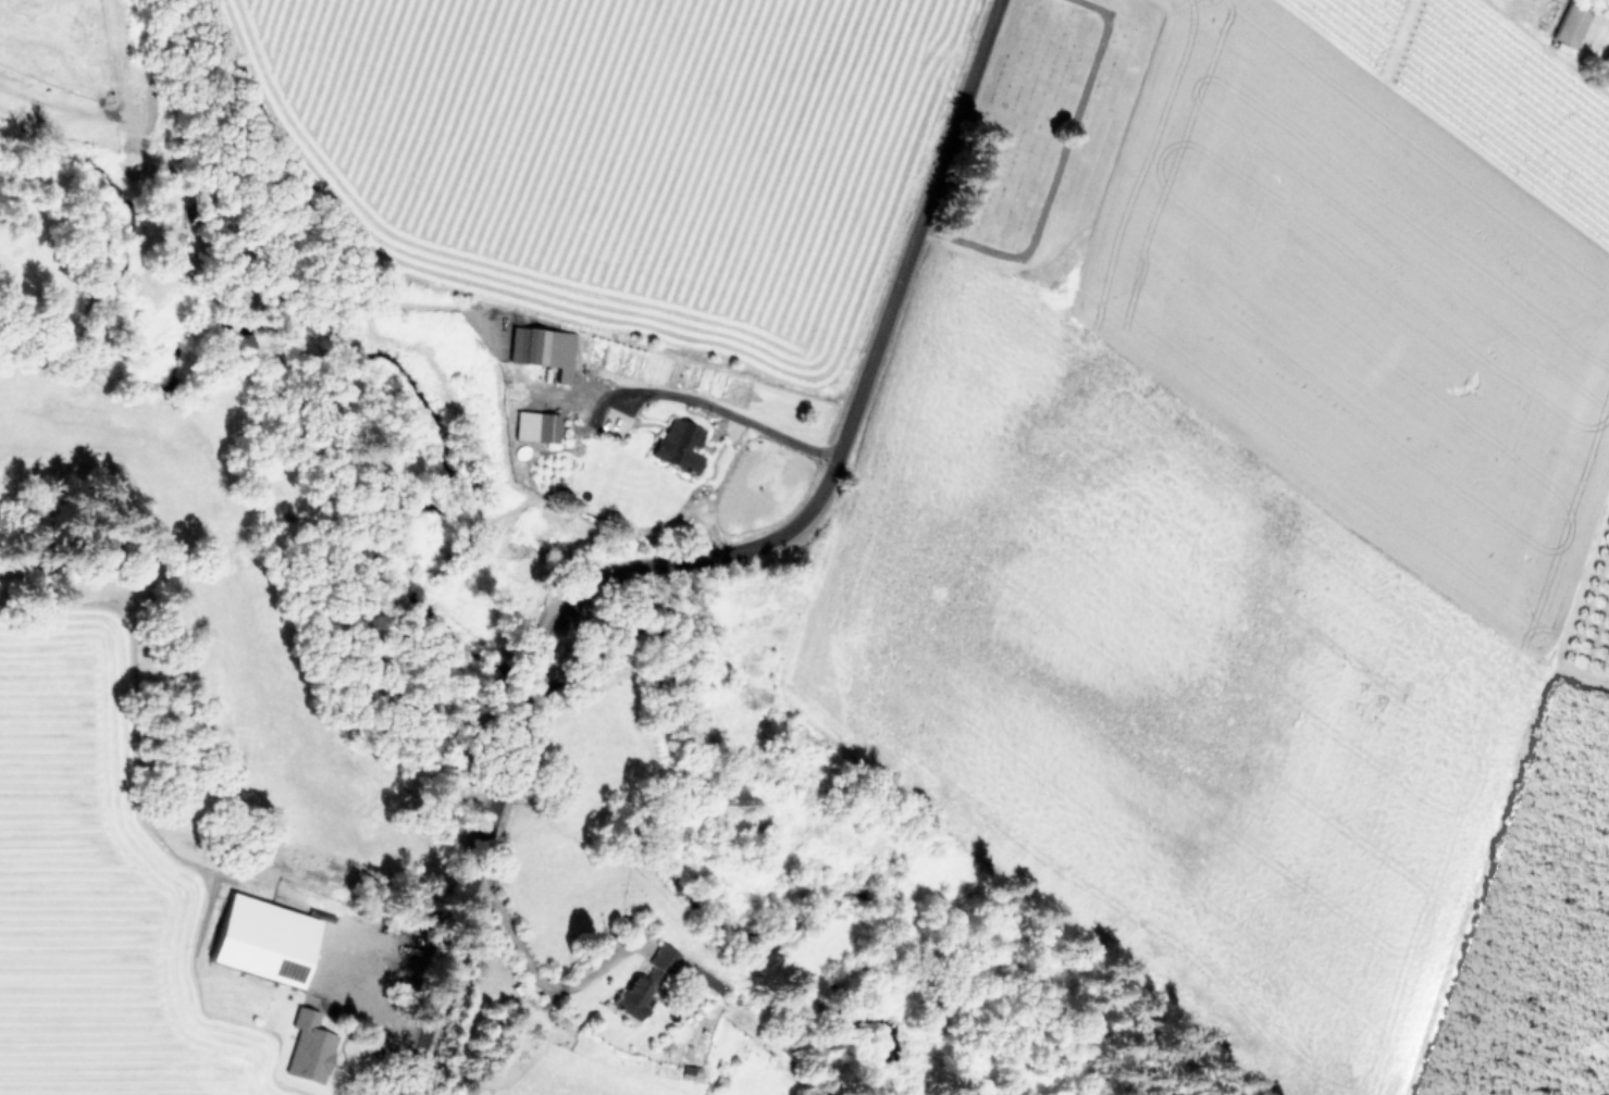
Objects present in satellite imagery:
building: (1571, 23)
building: (543, 348)
road: (726, 418)
building: (535, 425)
building: (678, 444)
road: (700, 558)
river: (386, 733)
building: (264, 934)
road: (534, 979)
building: (703, 979)
building: (643, 982)
crop: (231, 994)
building: (308, 1046)
building: (691, 1071)

